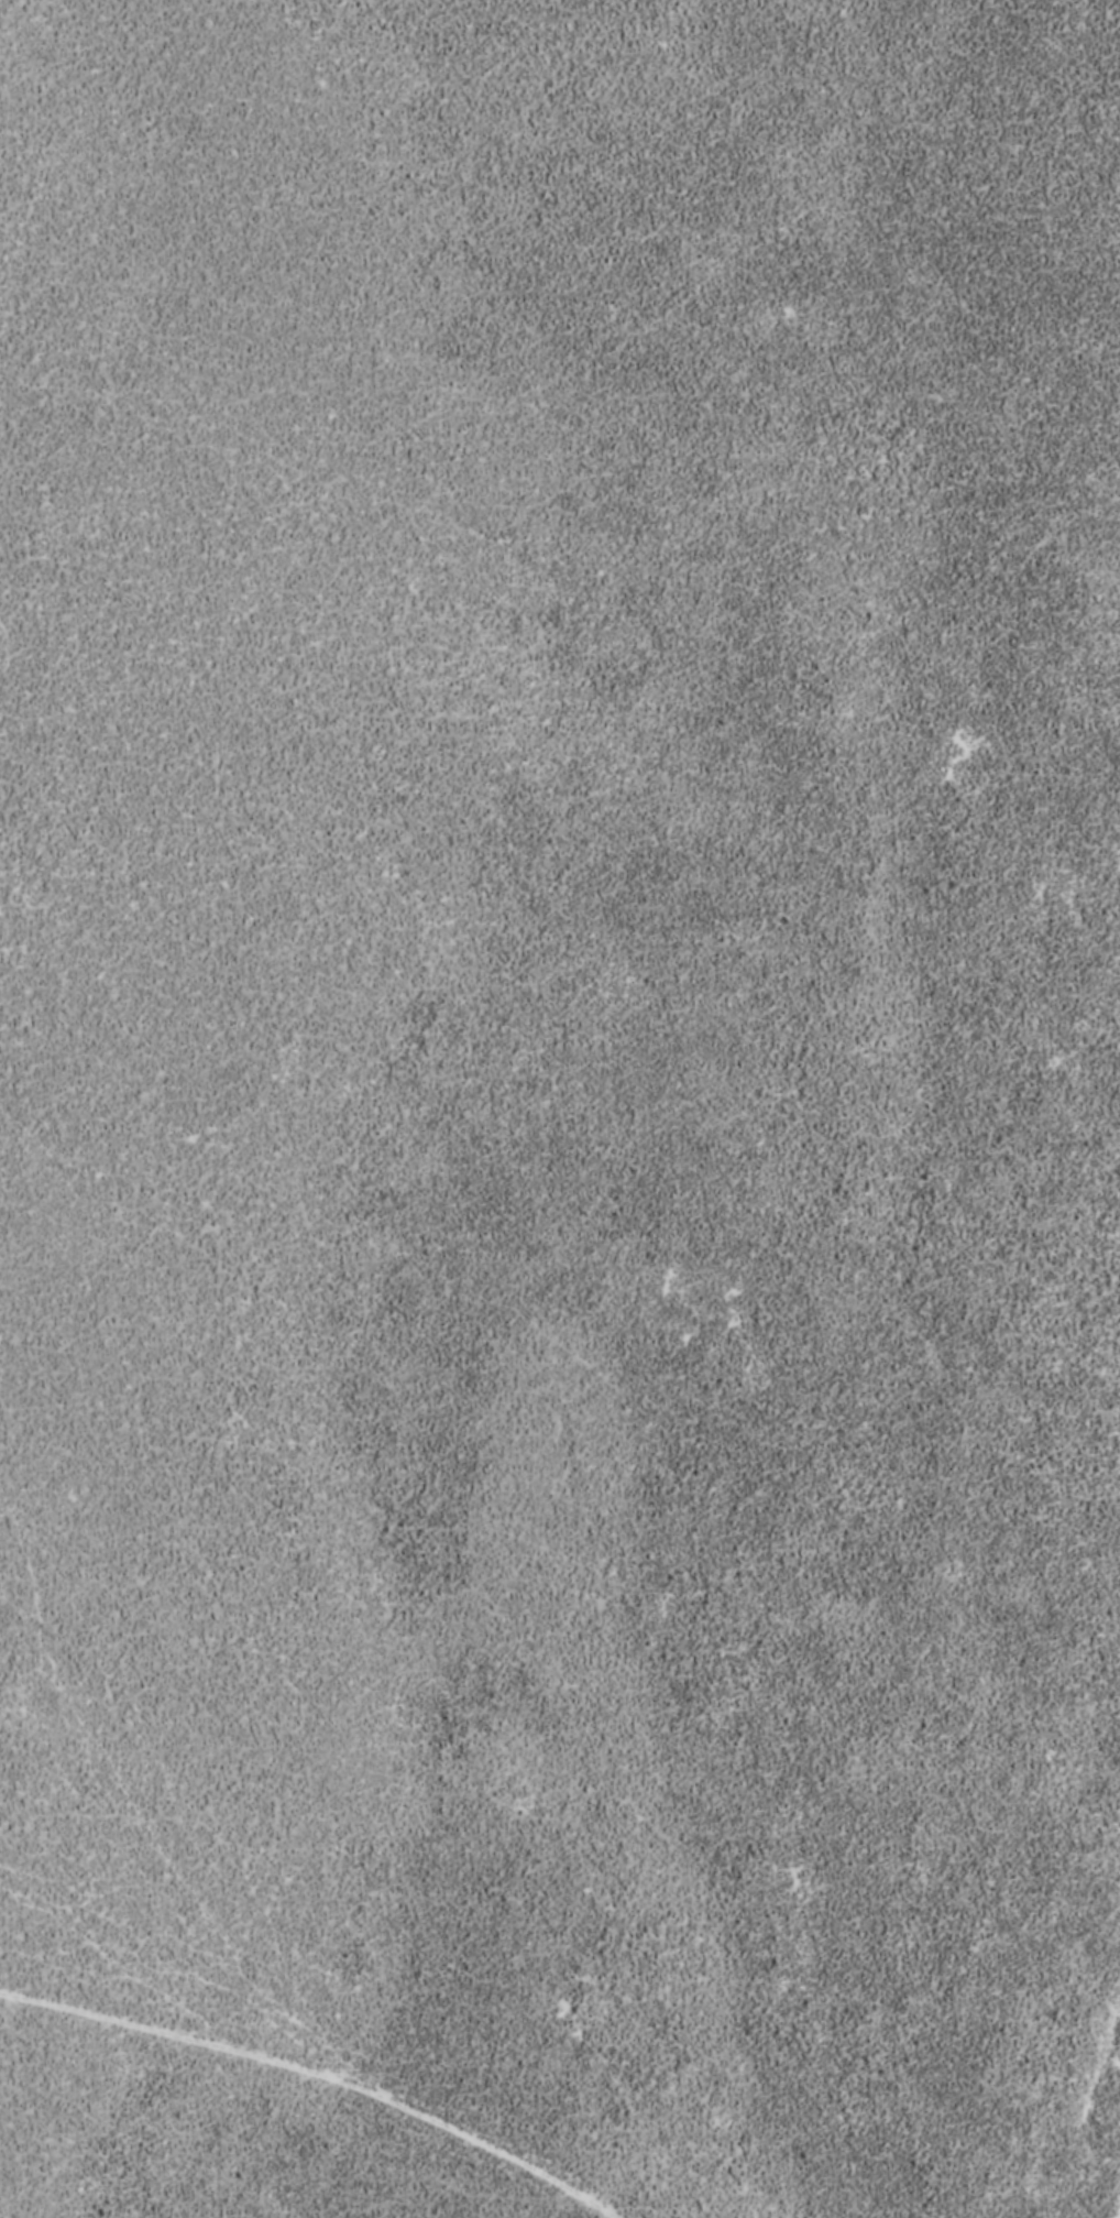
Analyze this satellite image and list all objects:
road: (321, 2072)

